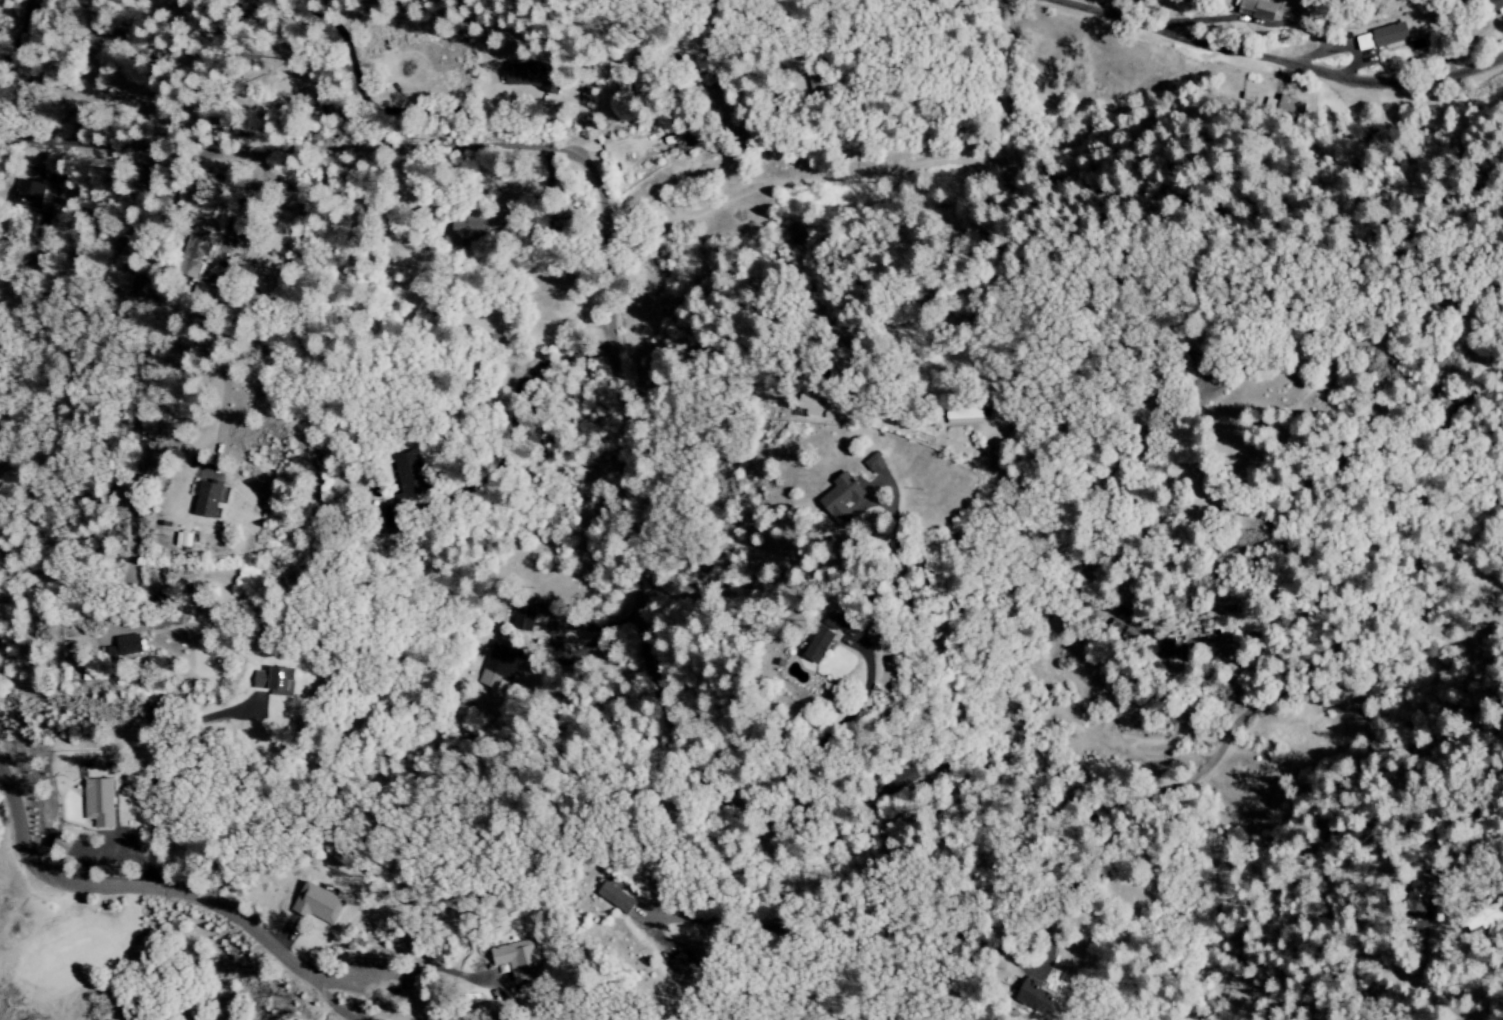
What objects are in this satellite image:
building: (1254, 9)
road: (28, 22)
building: (1378, 37)
road: (32, 41)
road: (1293, 64)
building: (530, 77)
building: (127, 85)
road: (999, 88)
building: (1289, 106)
building: (33, 196)
building: (195, 253)
building: (812, 405)
building: (965, 415)
road: (738, 461)
building: (879, 463)
building: (409, 476)
building: (847, 498)
building: (209, 499)
building: (183, 539)
road: (527, 553)
building: (523, 619)
building: (821, 644)
building: (126, 646)
building: (1218, 648)
building: (496, 665)
road: (665, 702)
building: (900, 779)
building: (99, 802)
road: (165, 885)
building: (615, 898)
building: (319, 903)
building: (1486, 918)
building: (518, 959)
building: (679, 962)
building: (1038, 997)

